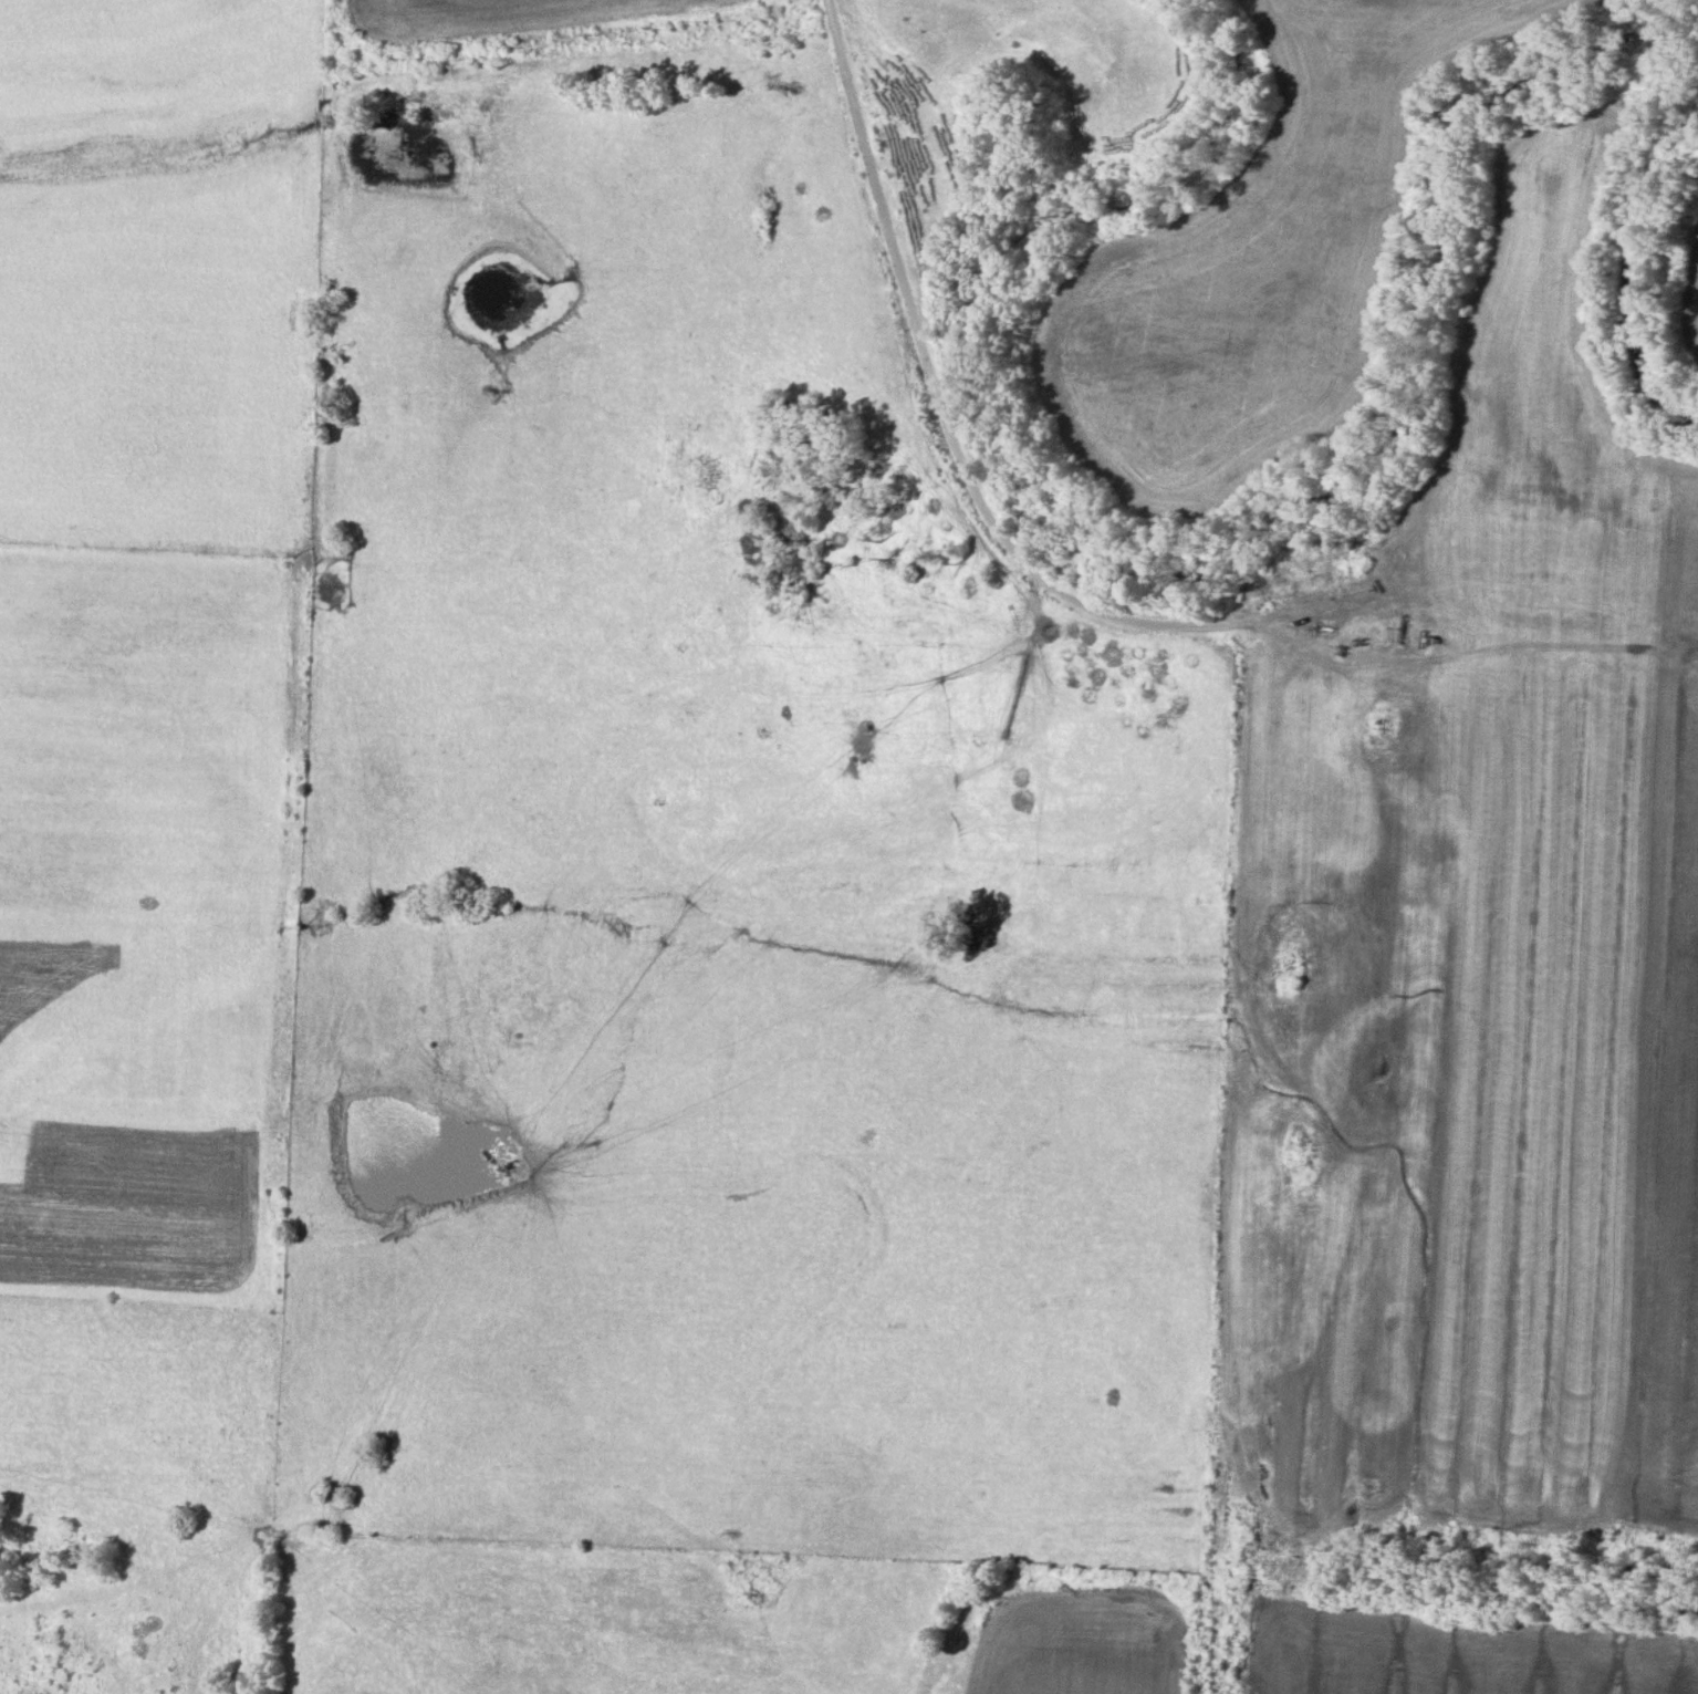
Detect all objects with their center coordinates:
crop: (1251, 263)
crop: (1686, 274)
road: (1064, 591)
crop: (1473, 944)
crop: (1085, 1645)
crop: (1440, 1649)

